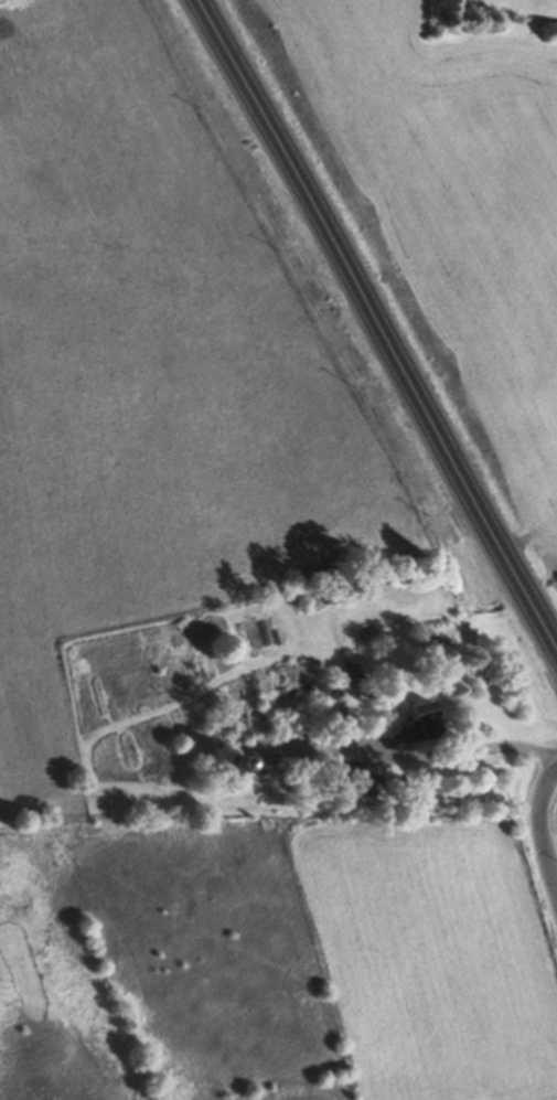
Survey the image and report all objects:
road: (383, 320)
building: (312, 596)
building: (291, 695)
building: (425, 717)
building: (246, 723)
road: (453, 749)
road: (538, 830)

